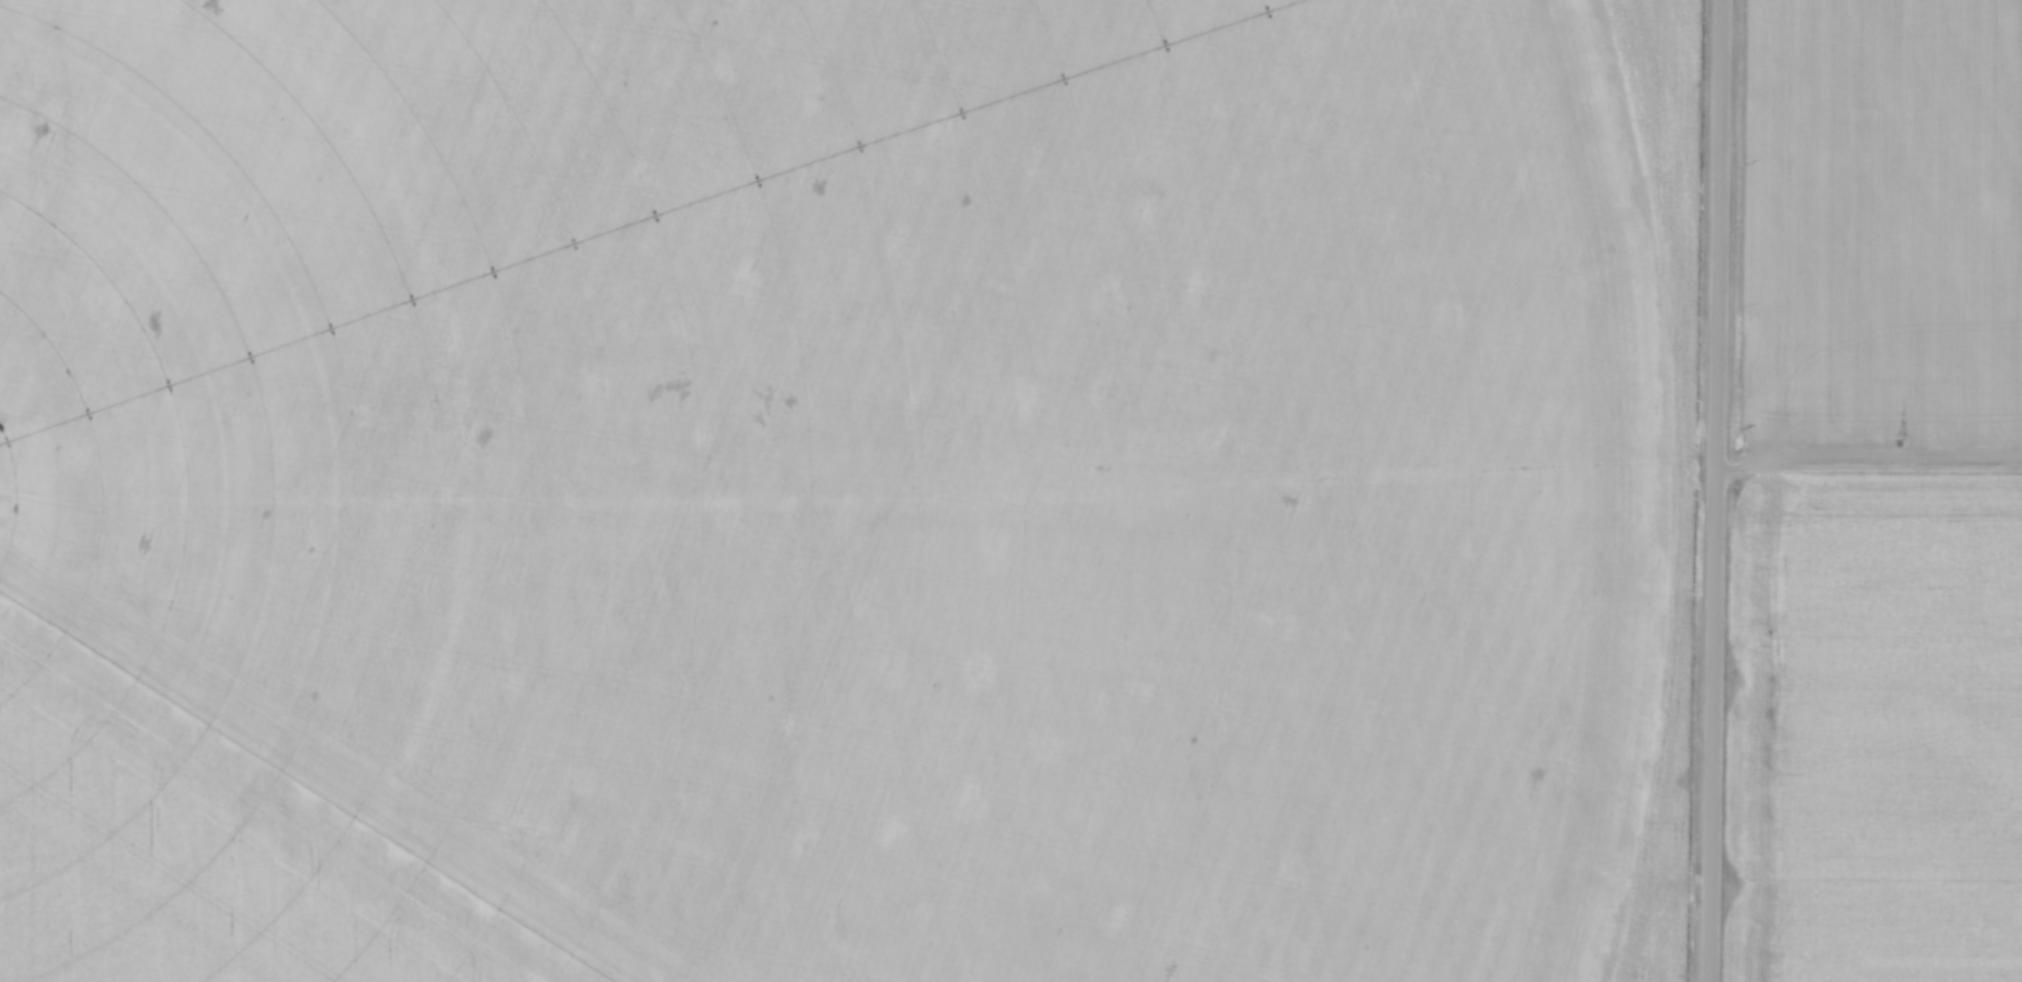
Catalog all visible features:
road: (1716, 490)

